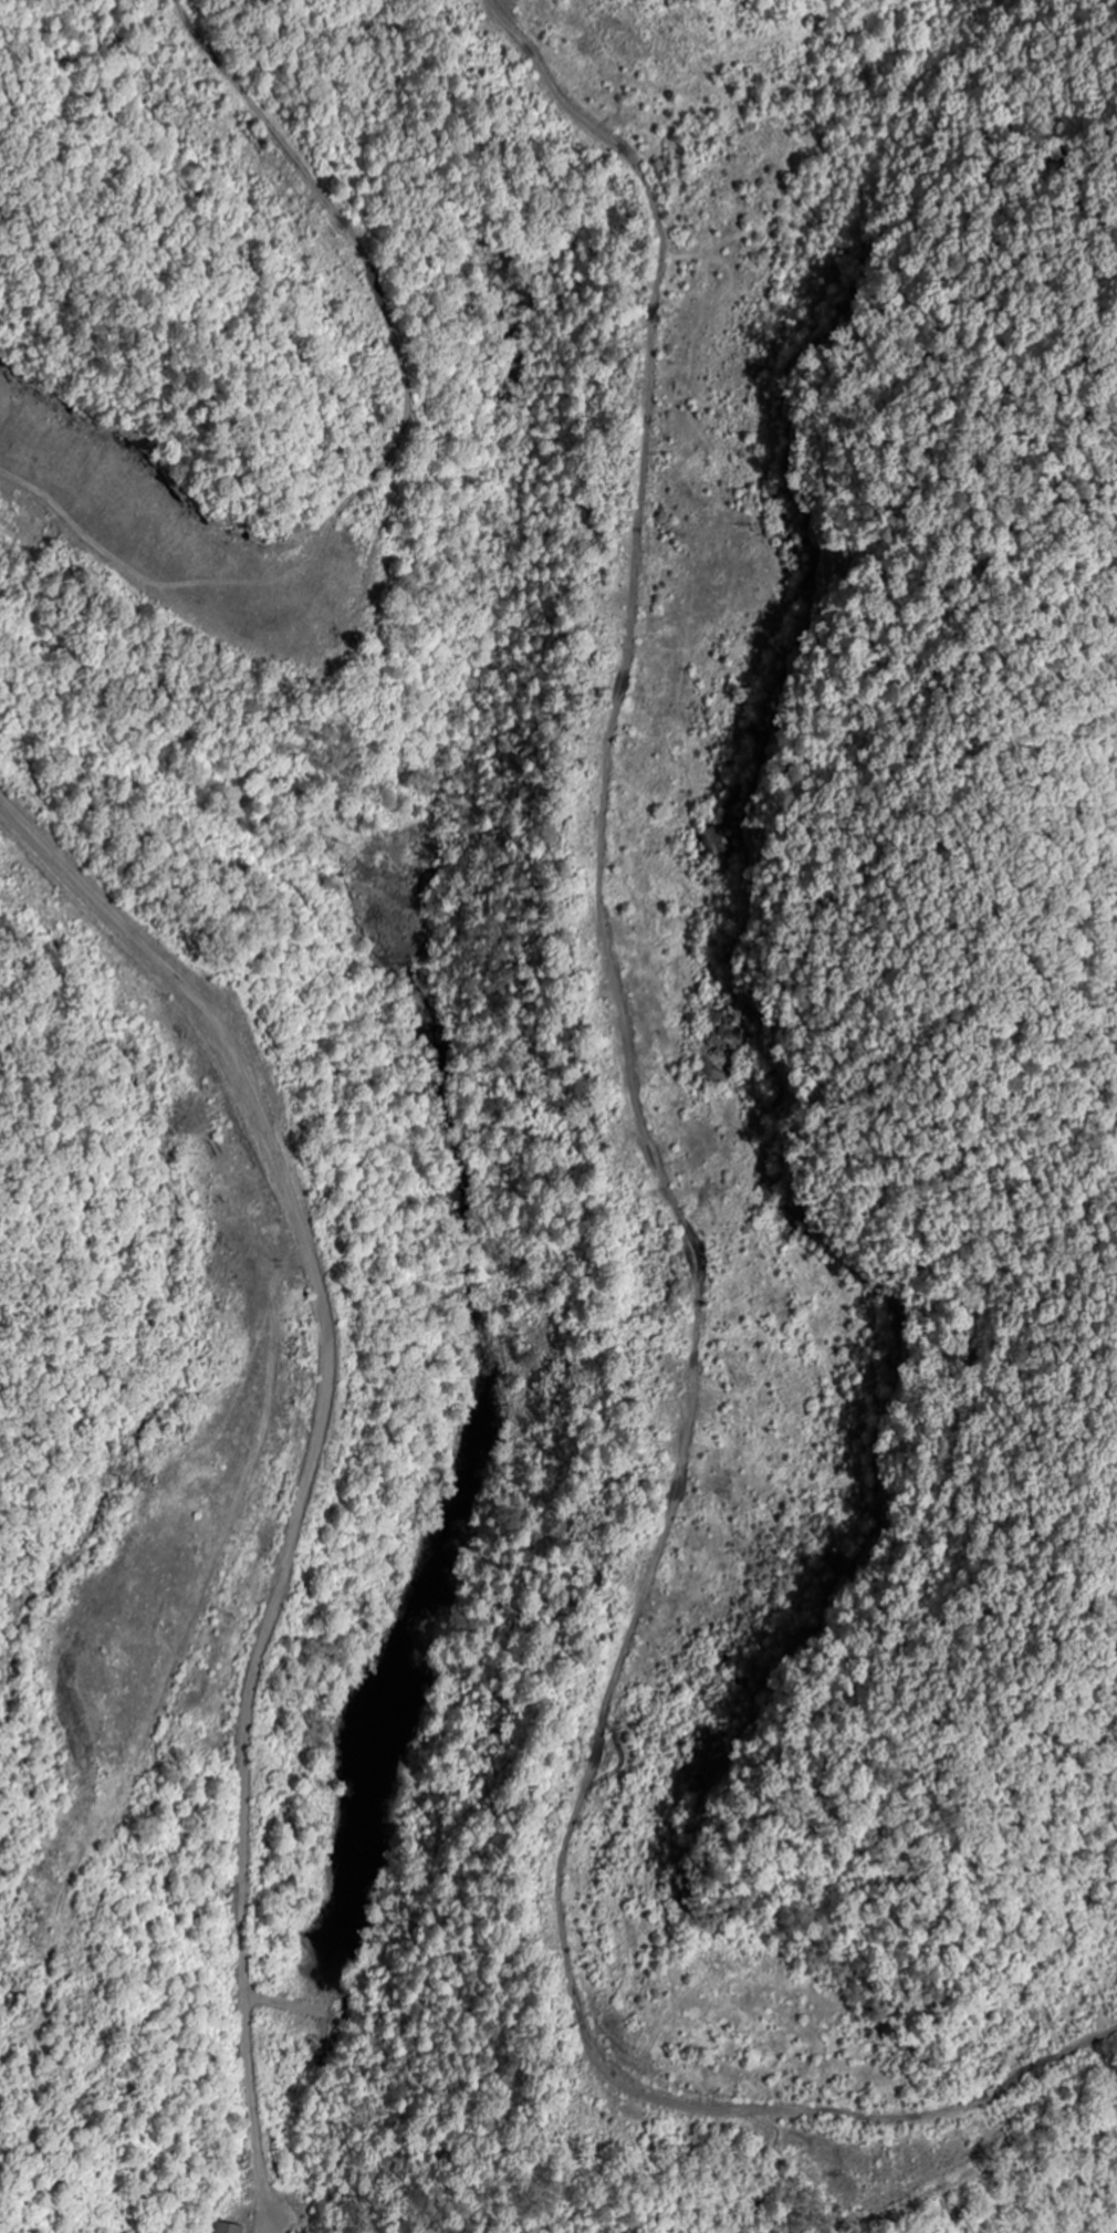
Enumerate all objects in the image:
building: (231, 2229)

